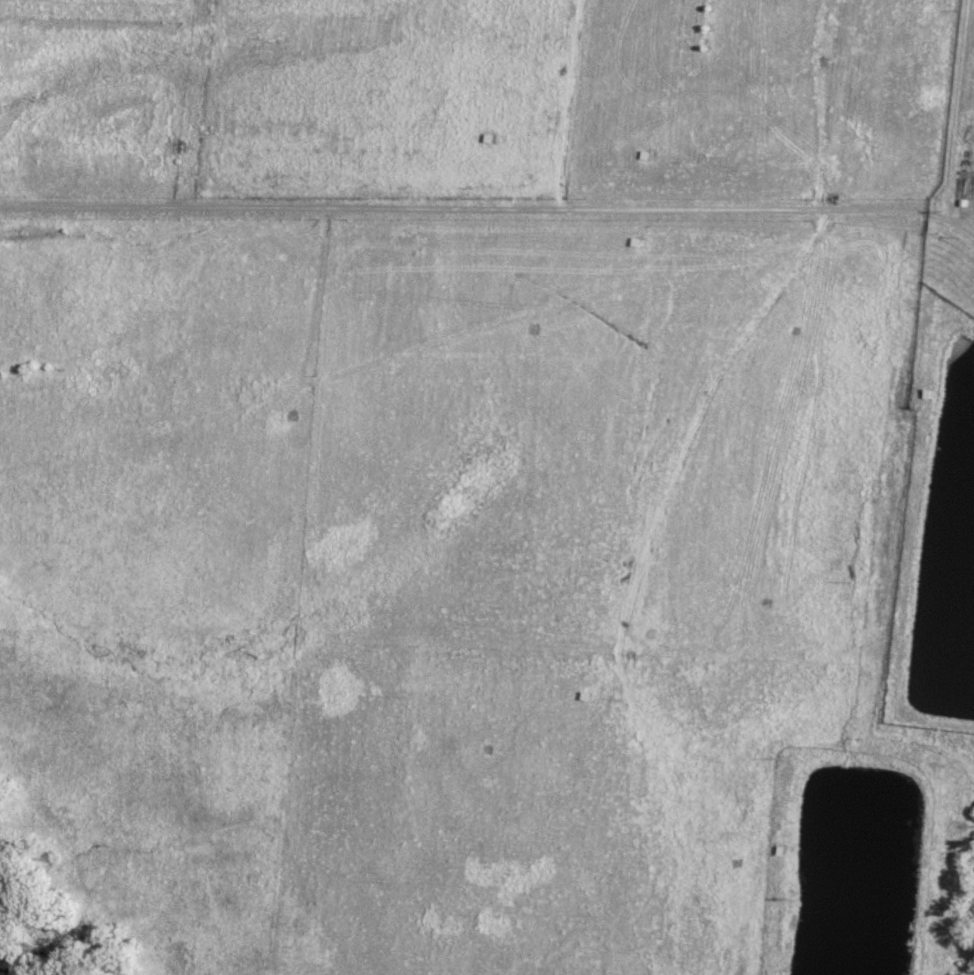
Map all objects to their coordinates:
road: (465, 212)
road: (954, 226)

